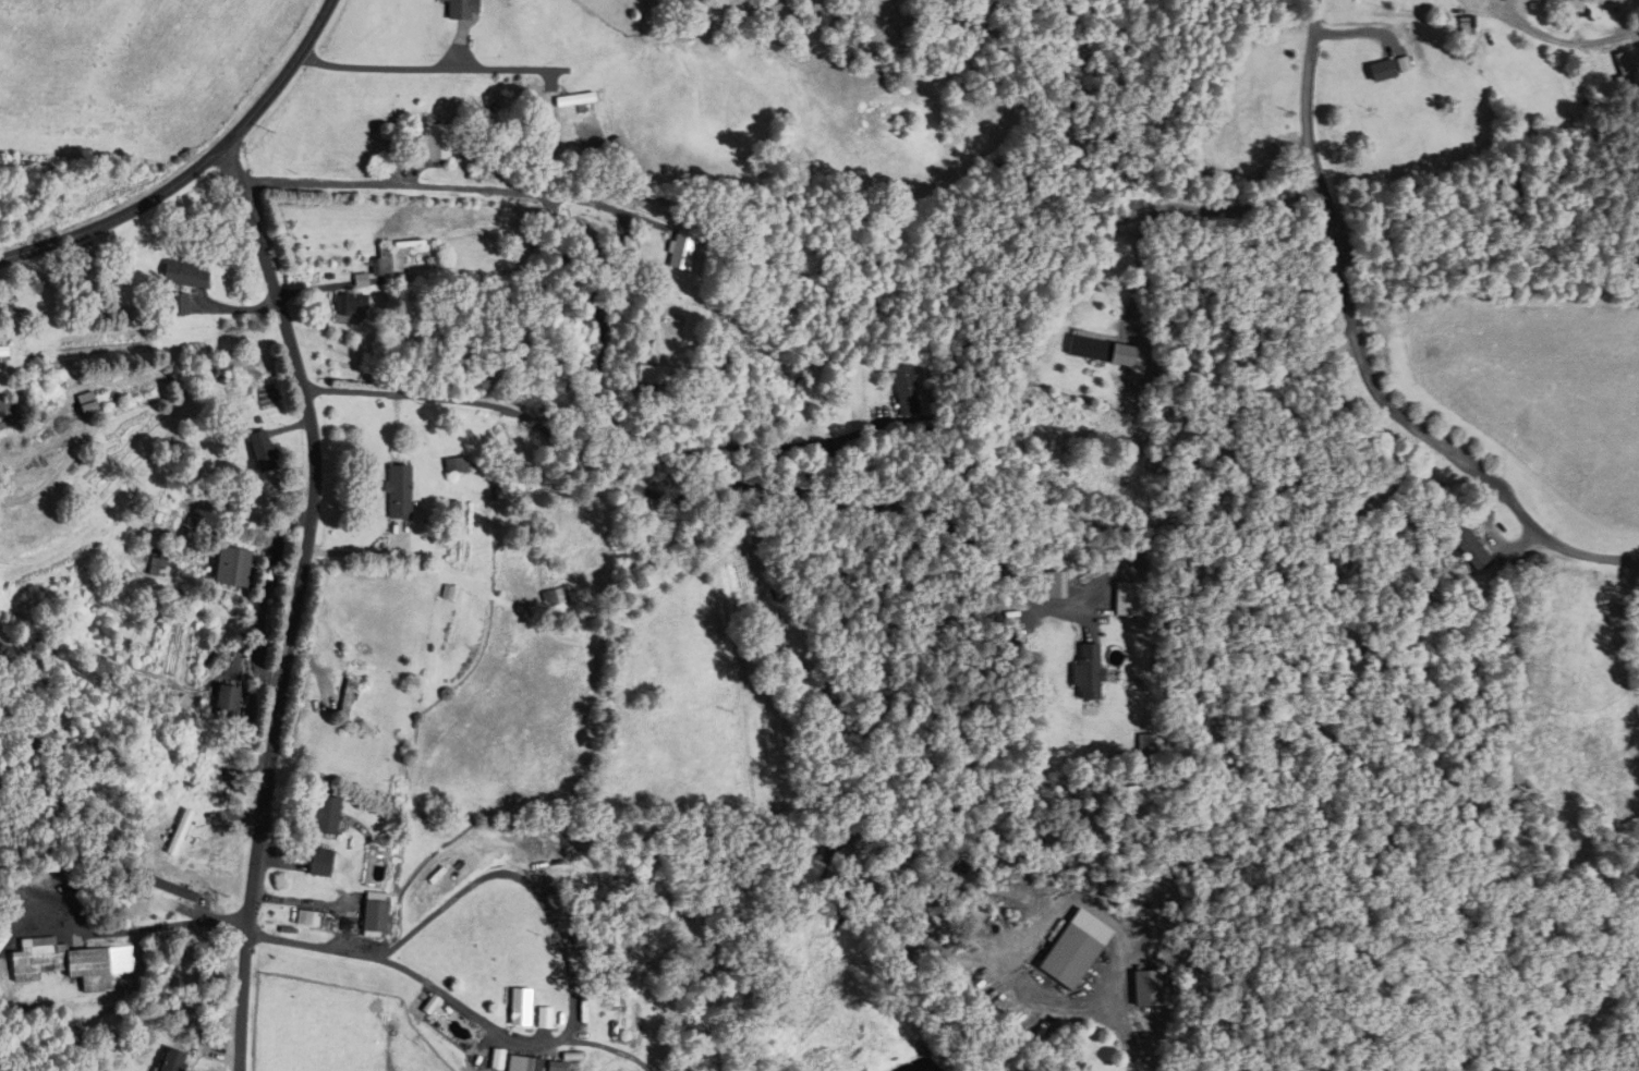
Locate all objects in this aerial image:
building: (1568, 5)
building: (462, 9)
road: (1608, 39)
road: (430, 68)
road: (1310, 69)
building: (1629, 69)
building: (1383, 70)
building: (576, 99)
building: (434, 142)
road: (199, 173)
building: (633, 242)
building: (684, 248)
building: (384, 261)
building: (189, 276)
road: (590, 297)
building: (347, 304)
building: (1105, 351)
building: (5, 353)
building: (664, 376)
building: (913, 390)
building: (89, 404)
building: (8, 406)
road: (1397, 414)
building: (265, 453)
building: (396, 491)
road: (706, 492)
building: (449, 509)
building: (1468, 545)
building: (157, 567)
building: (239, 568)
road: (298, 605)
building: (1086, 671)
building: (236, 703)
road: (56, 706)
building: (329, 816)
building: (183, 832)
building: (325, 863)
building: (381, 915)
road: (133, 932)
building: (1080, 948)
building: (80, 964)
building: (198, 989)
road: (457, 1001)
building: (512, 1007)
road: (1118, 1017)
building: (181, 1061)
building: (522, 1064)
building: (550, 1067)
building: (1080, 1067)

